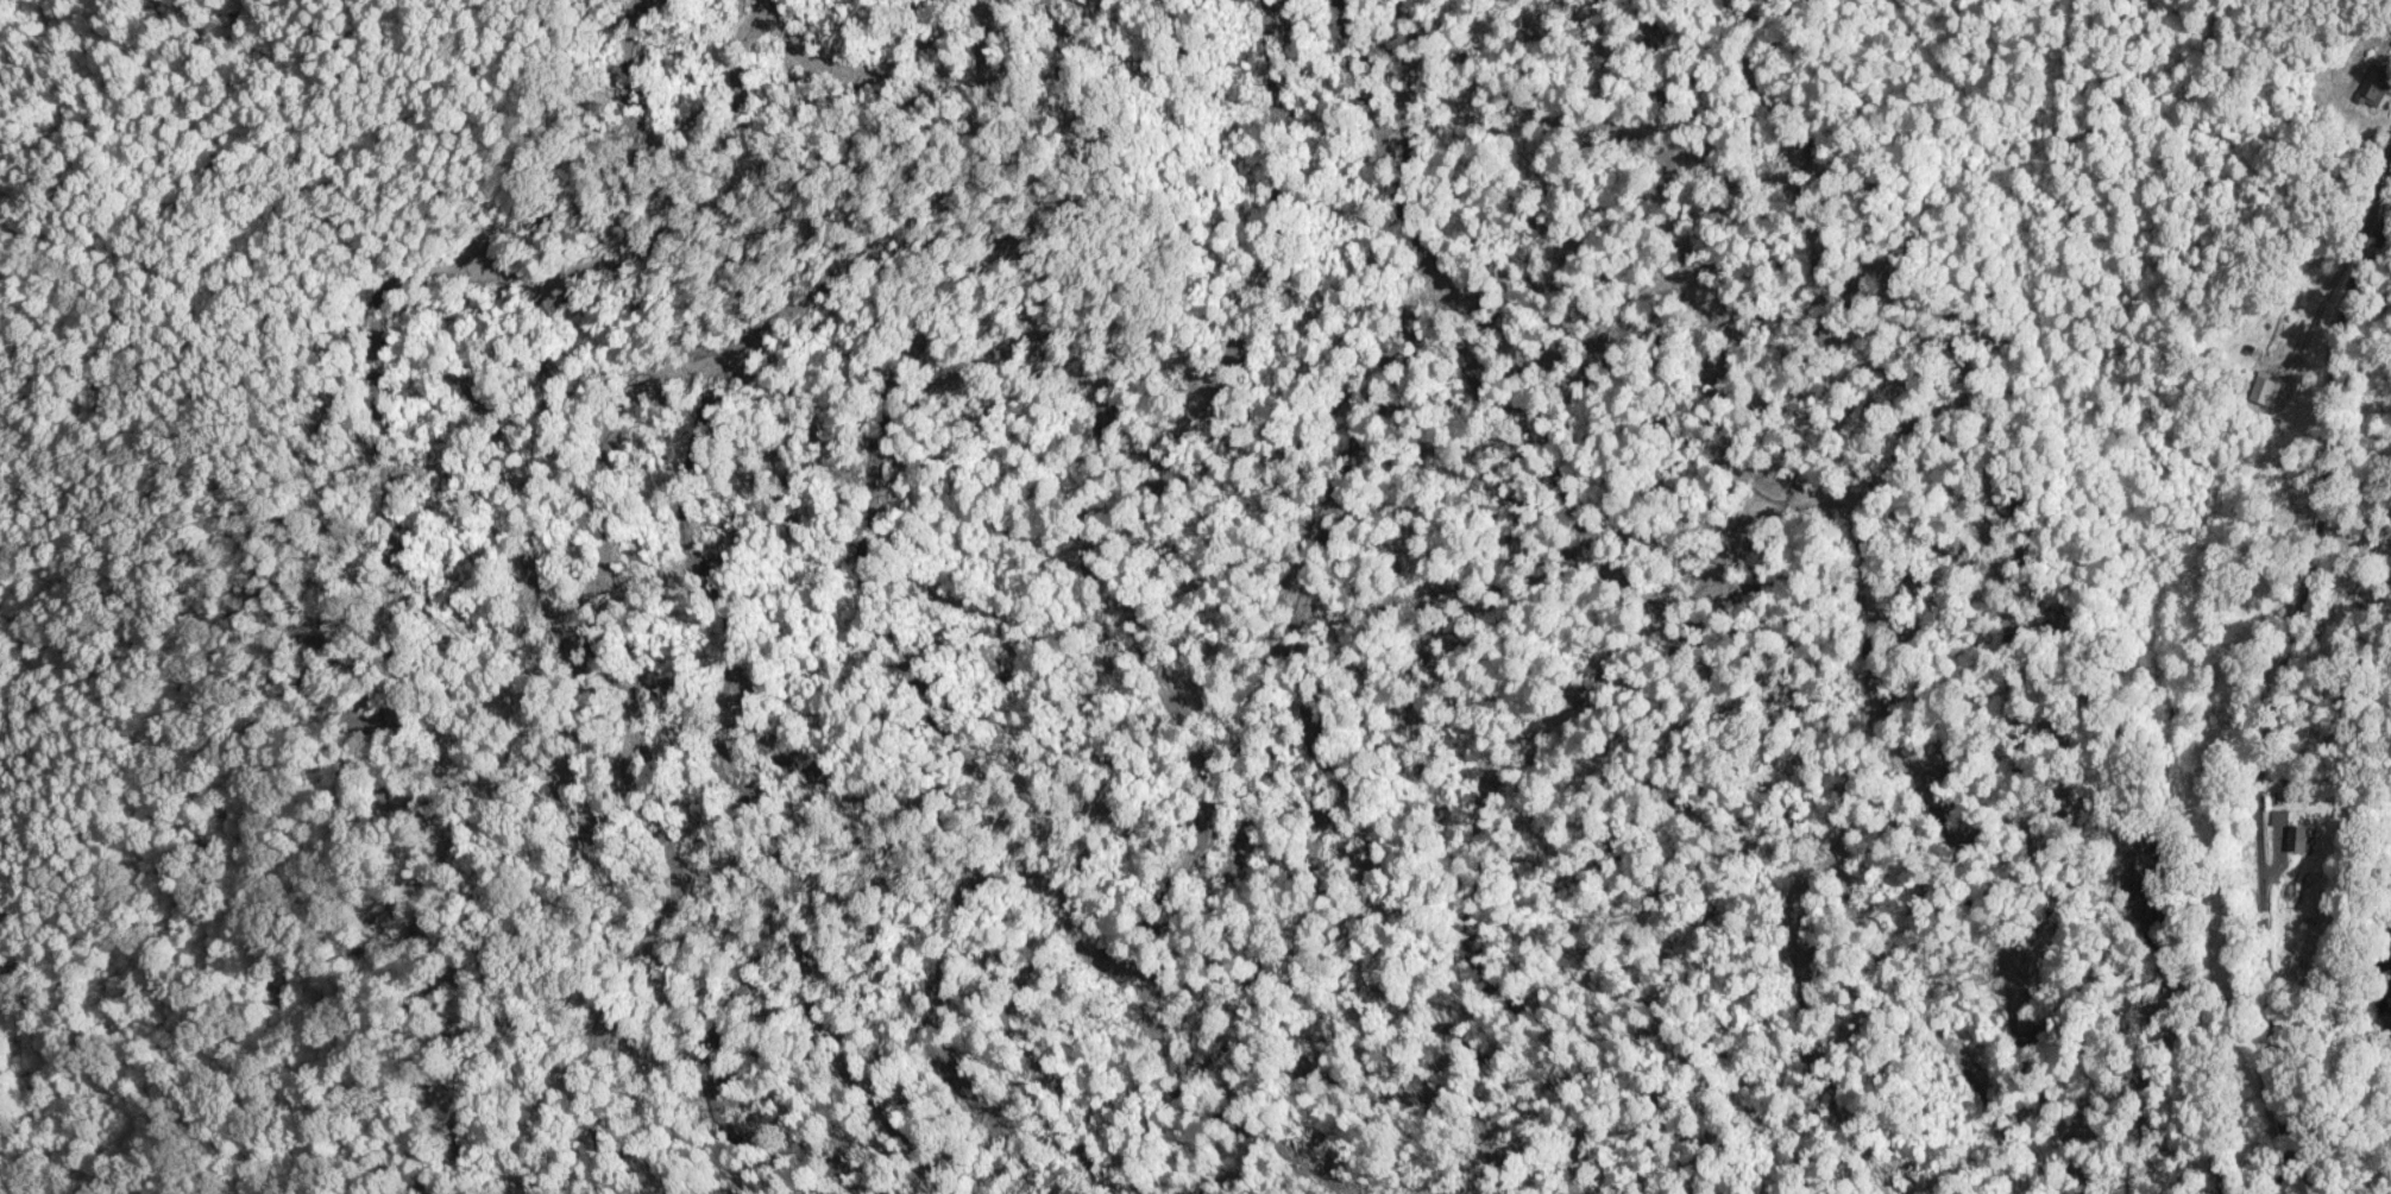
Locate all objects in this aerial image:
road: (2271, 652)

